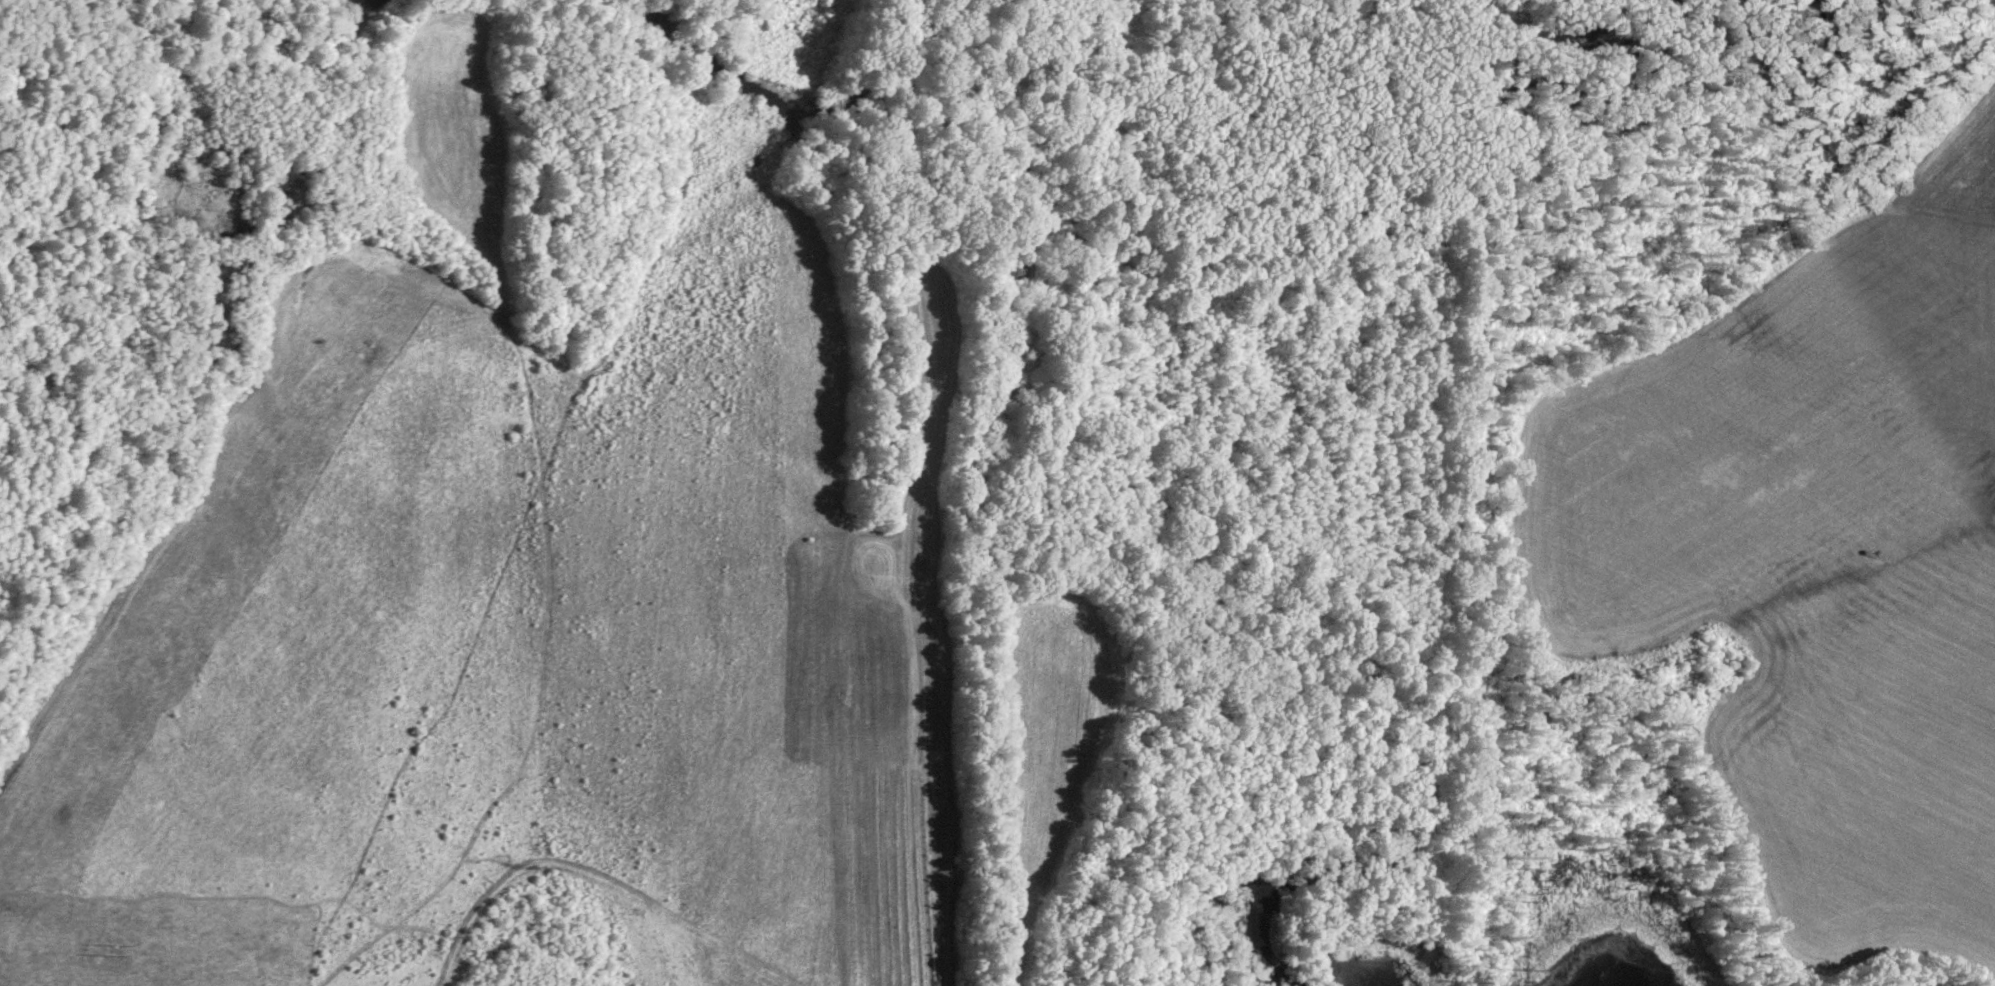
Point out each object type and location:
crop: (516, 619)
power tower: (120, 951)

